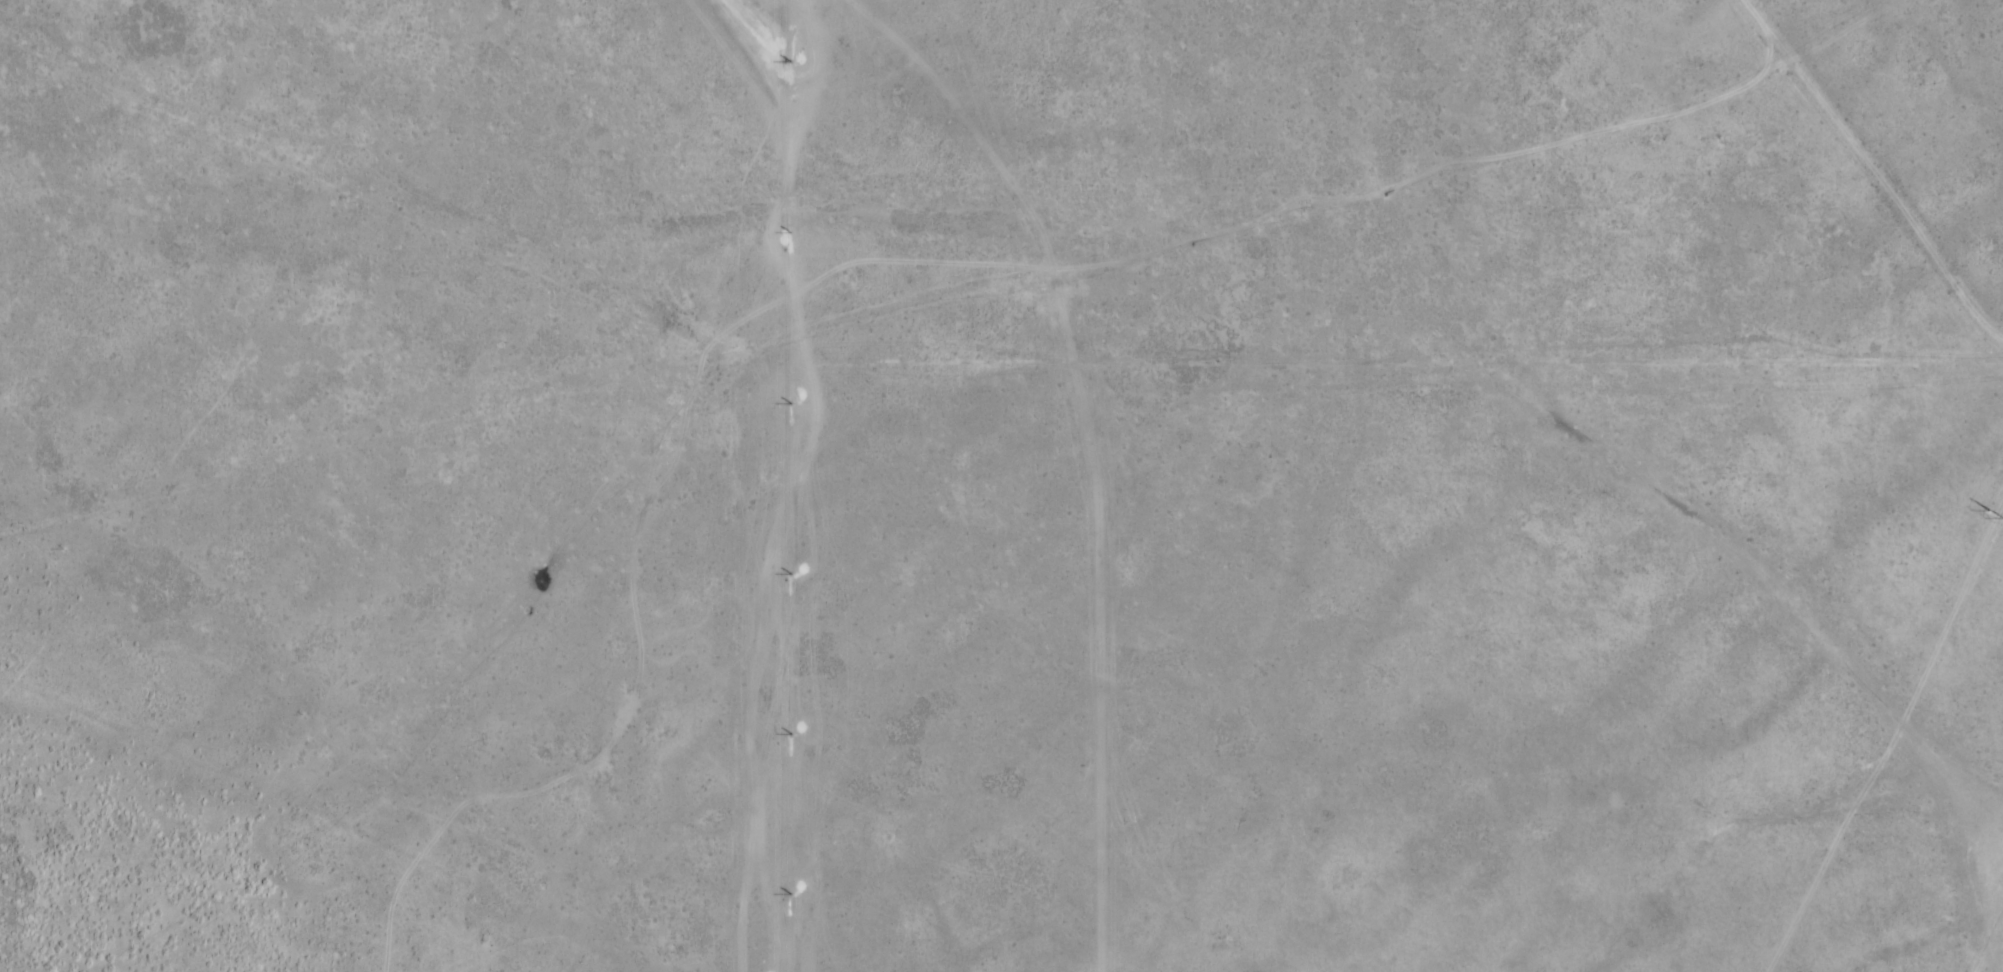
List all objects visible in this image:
power tower: (1995, 511)

